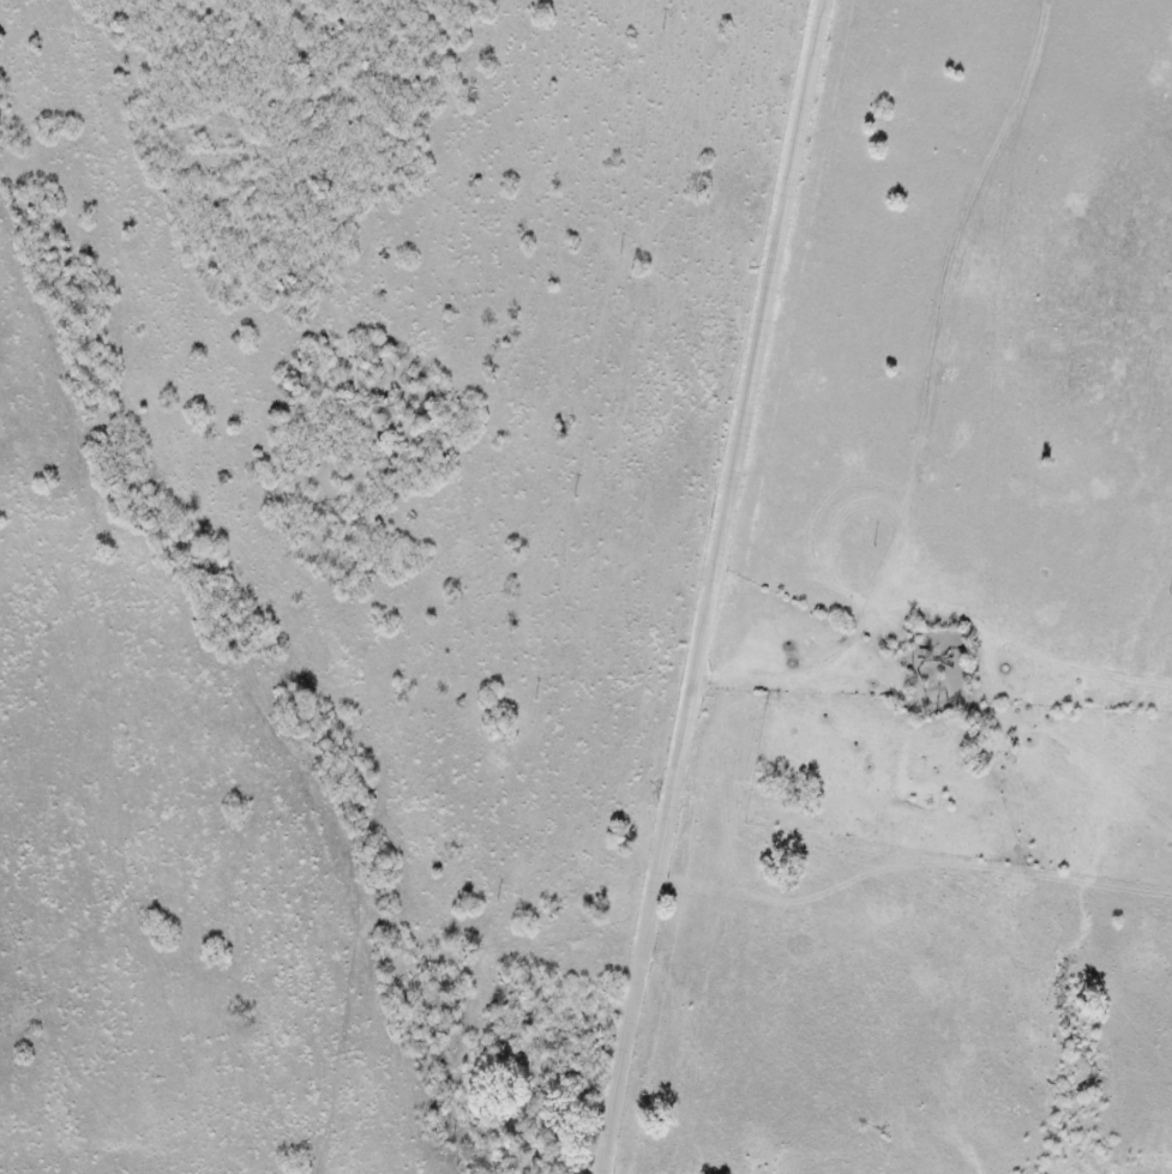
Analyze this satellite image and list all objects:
road: (717, 586)

